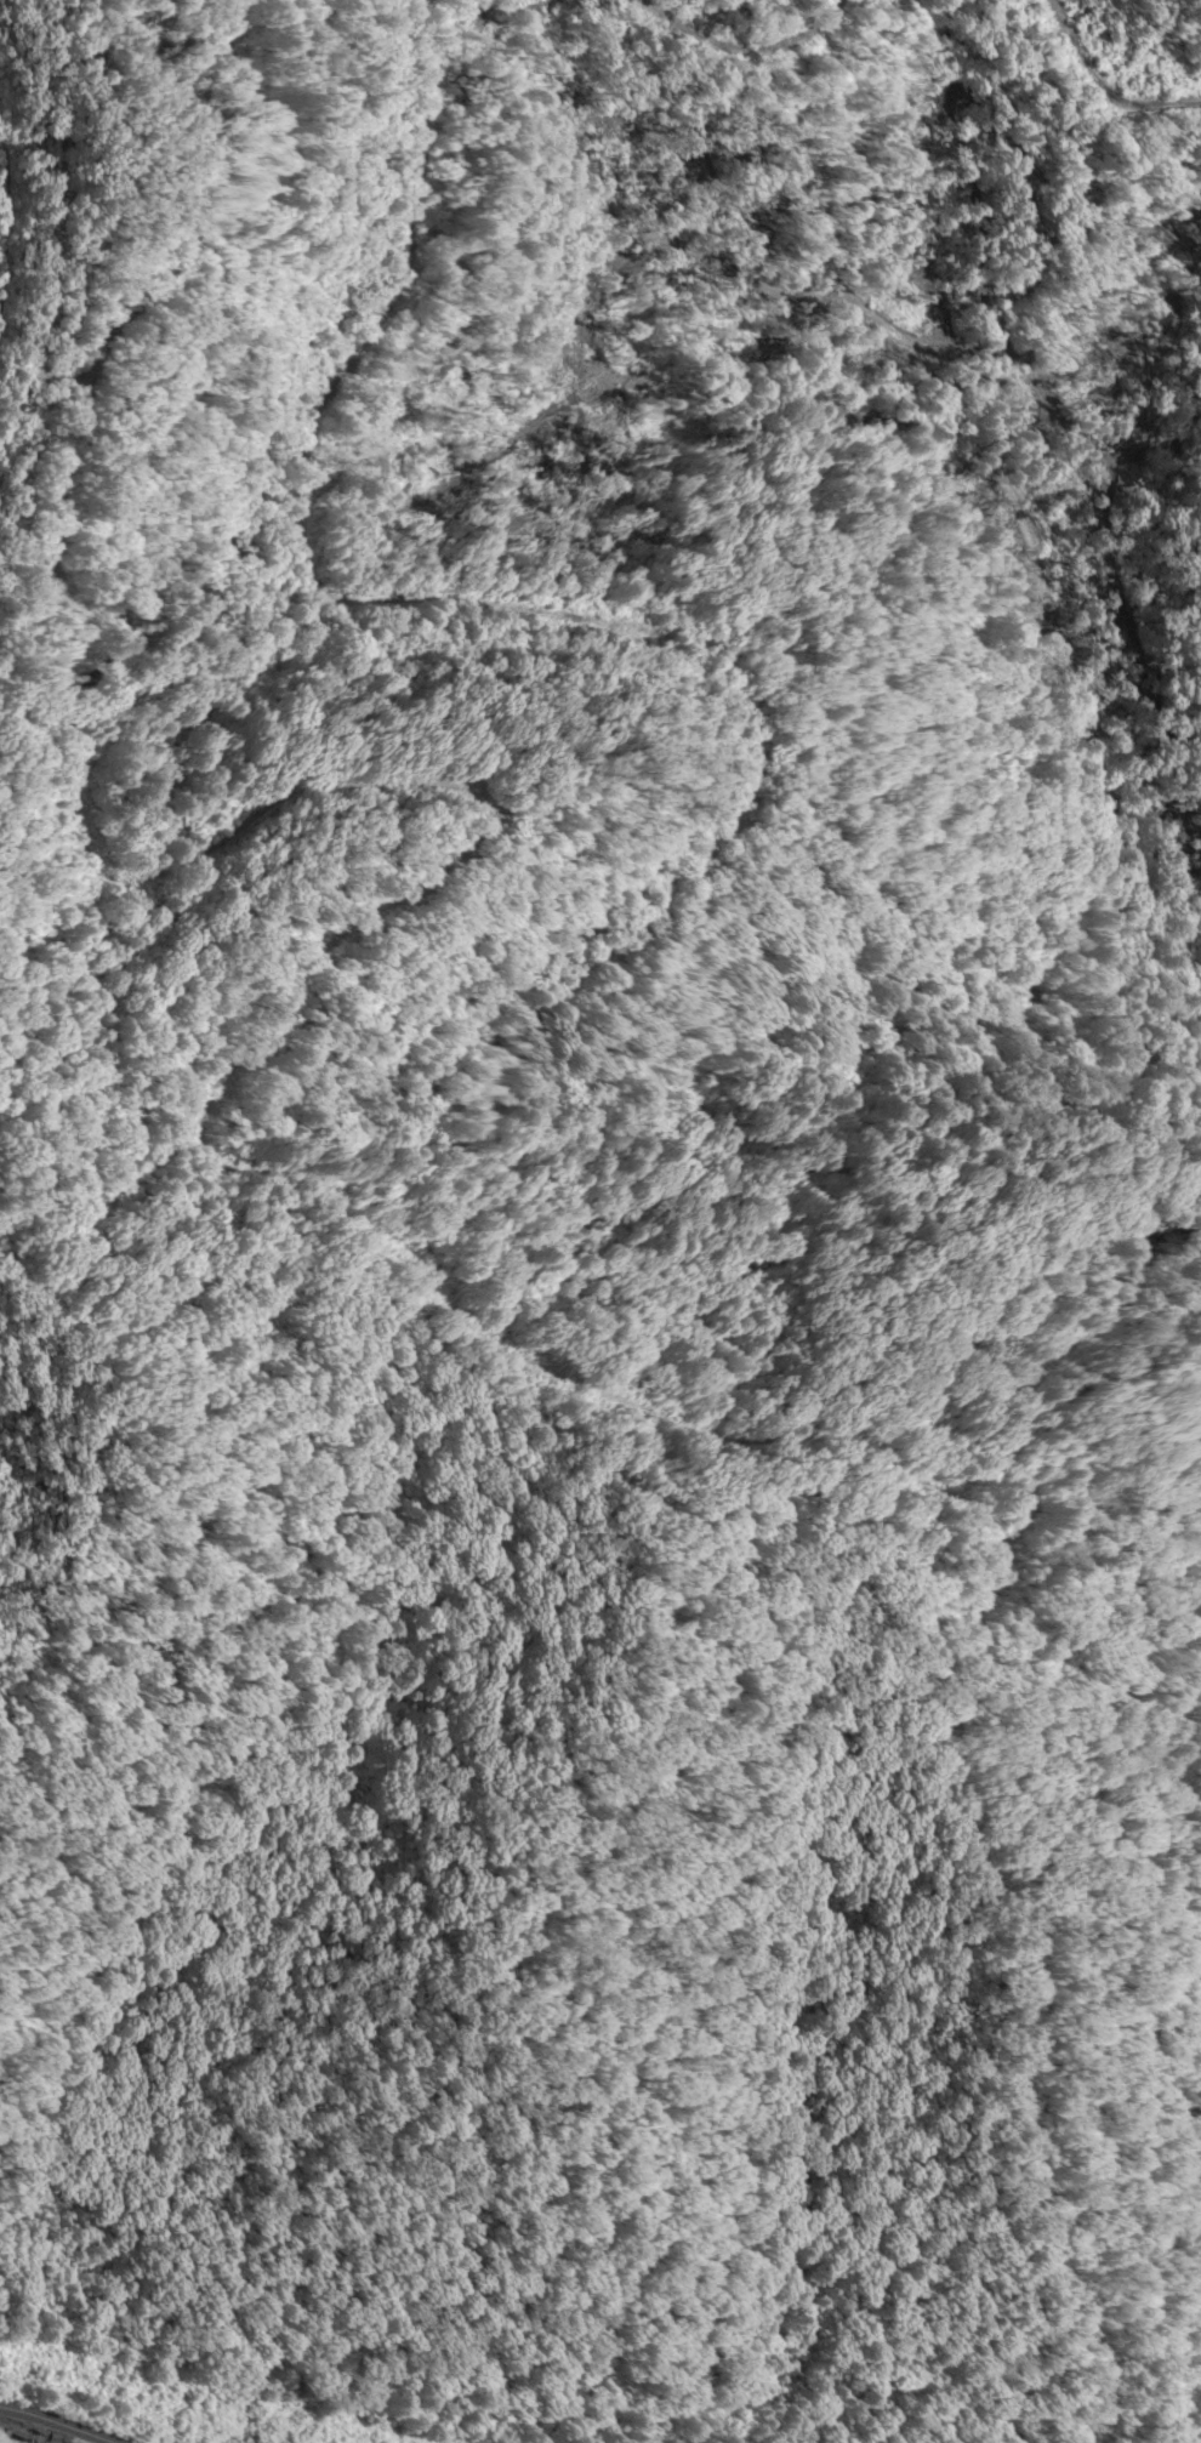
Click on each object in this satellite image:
road: (59, 2422)

